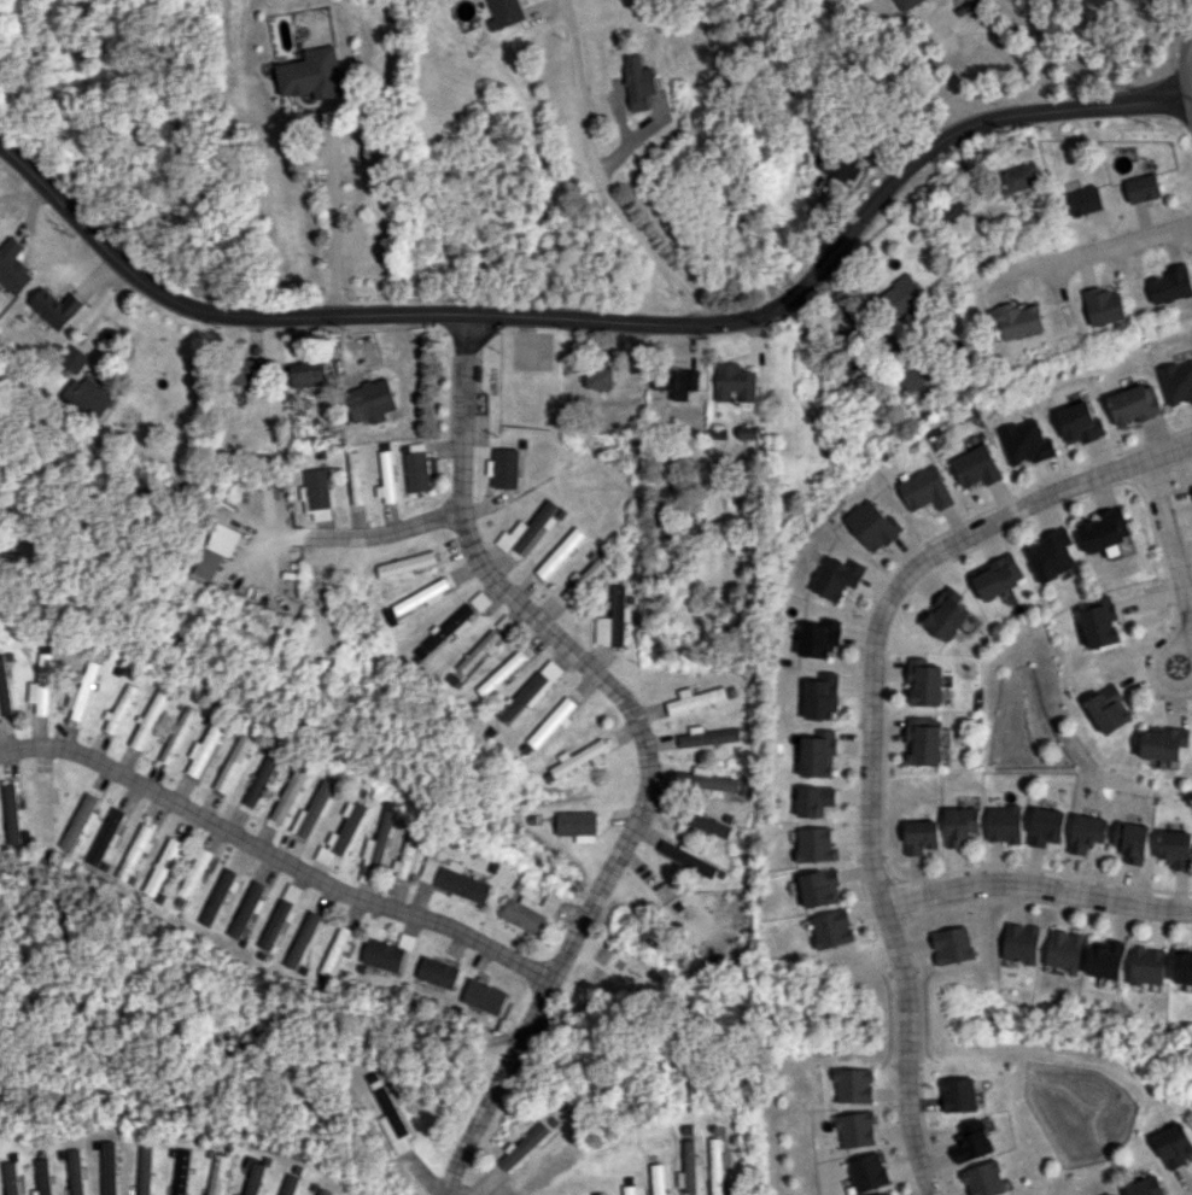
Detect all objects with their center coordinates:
building: (902, 2)
building: (506, 13)
road: (1063, 53)
road: (1186, 66)
building: (311, 74)
building: (639, 82)
road: (1191, 100)
building: (374, 152)
building: (837, 163)
building: (1018, 177)
road: (603, 184)
building: (1141, 187)
building: (1085, 200)
building: (952, 210)
road: (333, 228)
road: (1103, 245)
building: (13, 266)
building: (1171, 283)
building: (900, 297)
building: (1105, 305)
building: (55, 306)
road: (603, 320)
building: (1019, 321)
building: (72, 358)
building: (246, 371)
building: (306, 374)
building: (598, 377)
building: (1178, 381)
building: (676, 382)
building: (734, 382)
building: (88, 397)
building: (370, 400)
building: (1134, 404)
building: (1079, 423)
building: (718, 432)
building: (747, 433)
building: (1024, 441)
building: (975, 465)
building: (416, 470)
building: (353, 478)
building: (385, 479)
building: (1191, 487)
building: (924, 488)
building: (314, 490)
building: (871, 525)
building: (527, 529)
building: (1104, 529)
road: (345, 538)
building: (215, 549)
building: (557, 553)
building: (1051, 555)
road: (1175, 561)
building: (405, 564)
building: (586, 575)
building: (998, 575)
building: (834, 576)
building: (422, 597)
building: (480, 601)
building: (946, 615)
building: (613, 620)
building: (1100, 621)
building: (448, 628)
building: (817, 638)
building: (481, 650)
building: (501, 673)
building: (924, 681)
building: (5, 685)
building: (41, 685)
building: (533, 690)
building: (82, 692)
building: (820, 697)
building: (695, 698)
building: (119, 708)
building: (1110, 709)
building: (148, 720)
building: (553, 721)
road: (870, 725)
building: (177, 734)
building: (708, 736)
road: (641, 740)
building: (923, 740)
building: (1163, 742)
building: (203, 750)
building: (817, 754)
building: (580, 757)
building: (232, 763)
building: (684, 778)
building: (261, 780)
building: (713, 780)
building: (290, 793)
building: (814, 799)
building: (46, 806)
building: (314, 808)
building: (11, 814)
building: (78, 821)
building: (575, 822)
building: (1004, 824)
building: (959, 825)
building: (346, 826)
building: (1046, 826)
building: (1086, 832)
building: (104, 836)
building: (919, 837)
building: (1130, 840)
building: (814, 844)
building: (376, 847)
building: (1175, 848)
building: (135, 851)
road: (273, 855)
building: (405, 856)
building: (686, 856)
building: (163, 865)
building: (194, 873)
building: (454, 879)
building: (819, 888)
road: (1038, 889)
building: (216, 896)
building: (292, 896)
building: (247, 907)
building: (530, 913)
building: (274, 924)
building: (832, 929)
building: (303, 938)
building: (1021, 942)
building: (952, 944)
building: (334, 949)
building: (1064, 949)
building: (382, 955)
building: (1105, 957)
building: (1147, 965)
building: (1184, 967)
building: (437, 971)
building: (484, 996)
building: (853, 1085)
building: (959, 1094)
building: (392, 1121)
building: (855, 1129)
building: (972, 1141)
building: (1174, 1144)
building: (522, 1146)
building: (715, 1166)
building: (686, 1167)
building: (146, 1170)
building: (182, 1171)
building: (76, 1172)
building: (866, 1172)
building: (218, 1175)
building: (43, 1177)
building: (12, 1178)
building: (255, 1178)
building: (658, 1178)
building: (984, 1179)
building: (290, 1184)
building: (1146, 1187)
building: (629, 1189)
building: (325, 1191)
building: (236, 1194)
building: (890, 1194)

